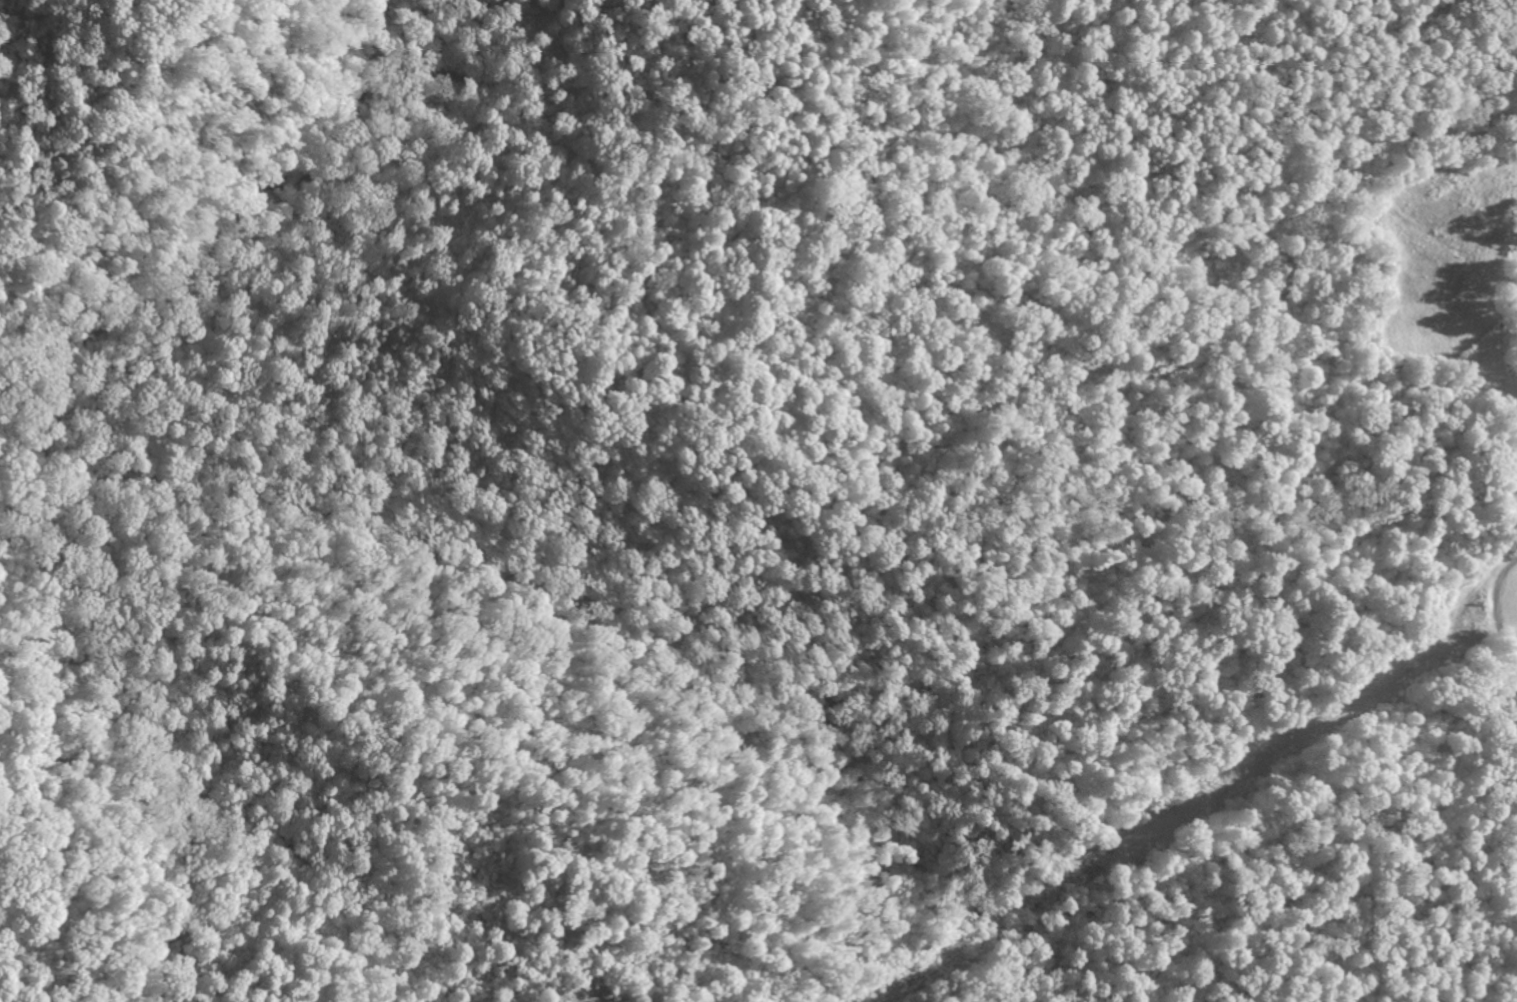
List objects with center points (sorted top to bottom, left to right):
road: (1387, 393)
building: (1514, 474)
road: (1497, 633)

